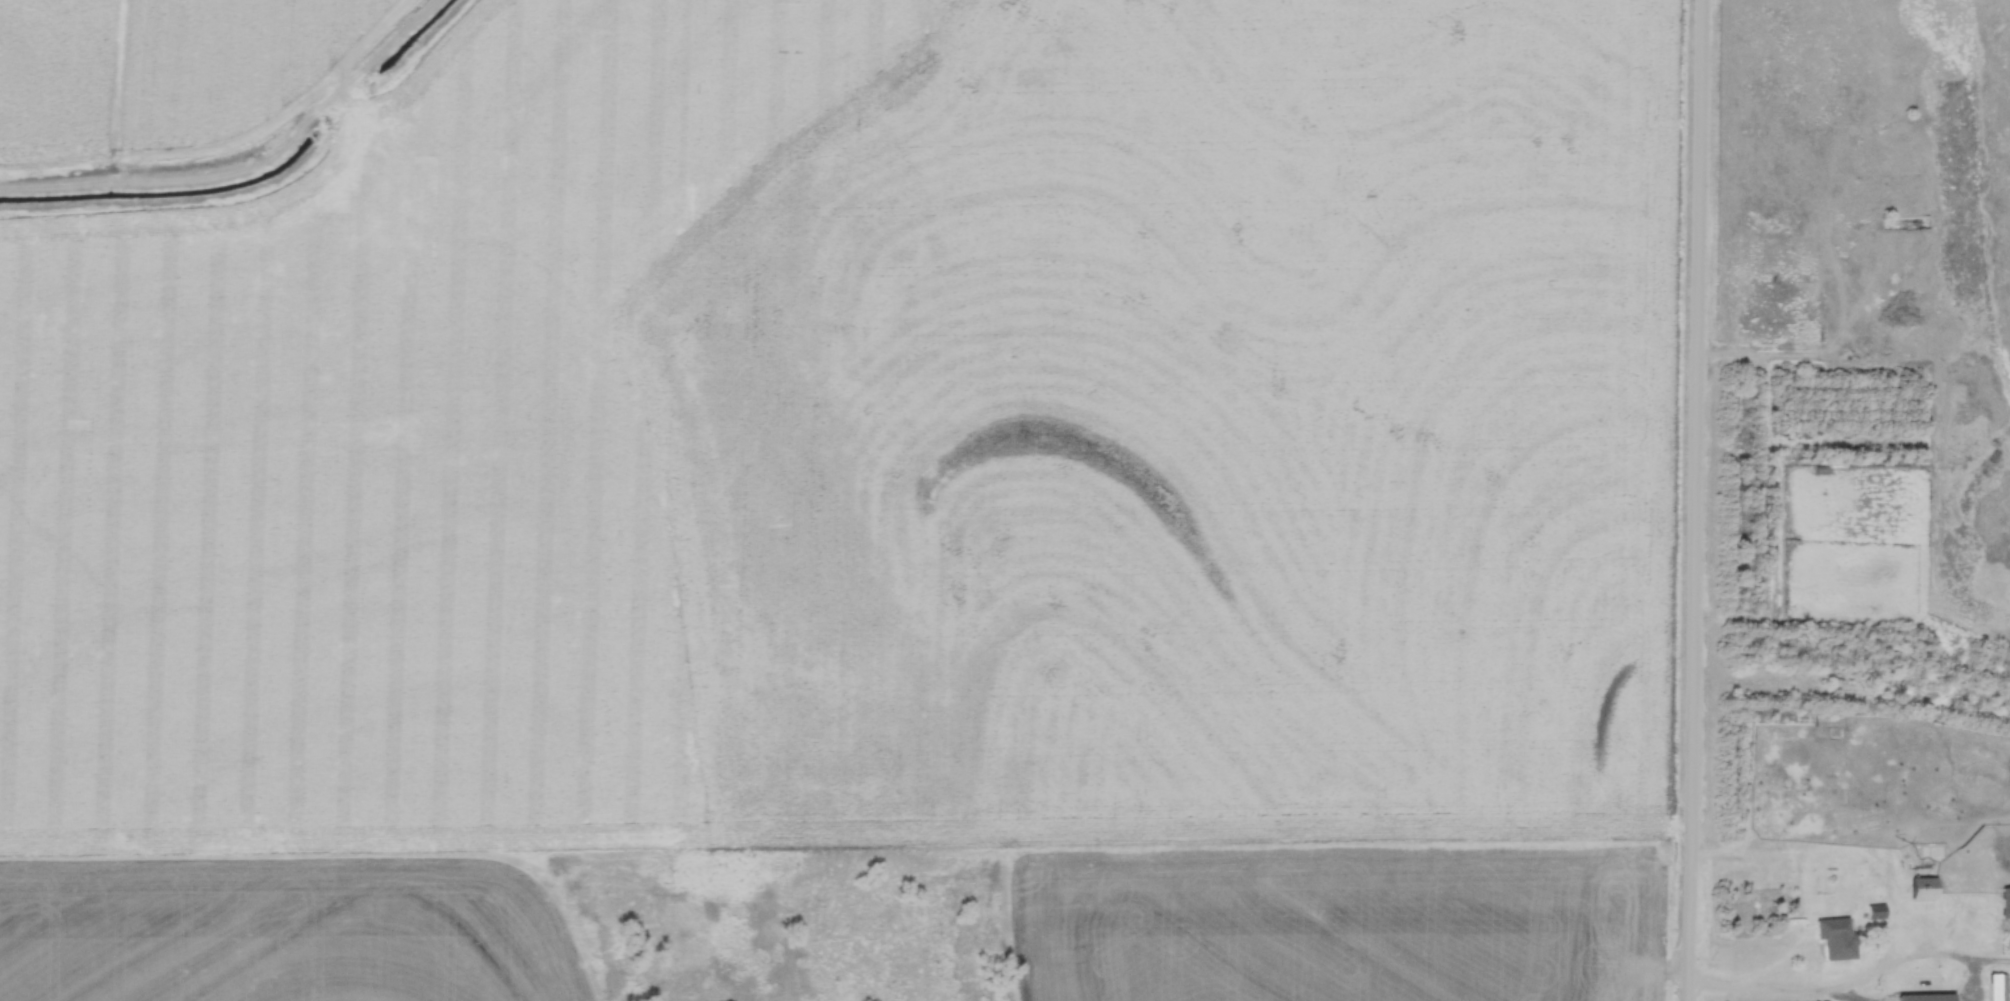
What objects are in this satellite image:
road: (1691, 500)
building: (1925, 889)
building: (2006, 903)
building: (1877, 912)
building: (1838, 938)
road: (1849, 985)
building: (1999, 987)

